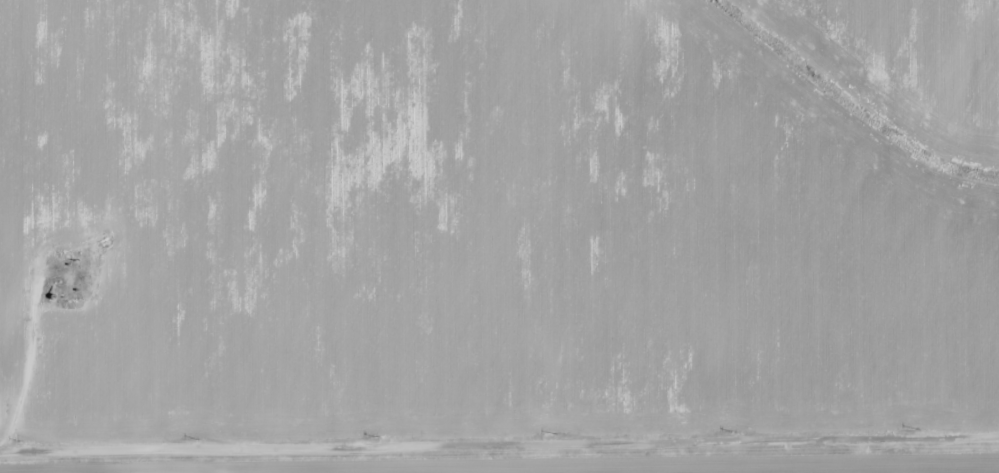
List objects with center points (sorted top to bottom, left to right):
road: (499, 438)

